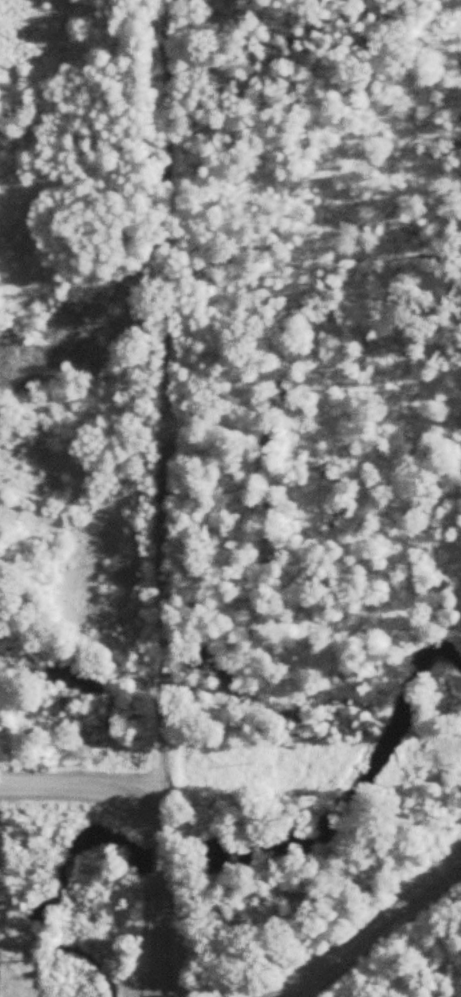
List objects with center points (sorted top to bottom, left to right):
road: (159, 823)
road: (371, 927)

